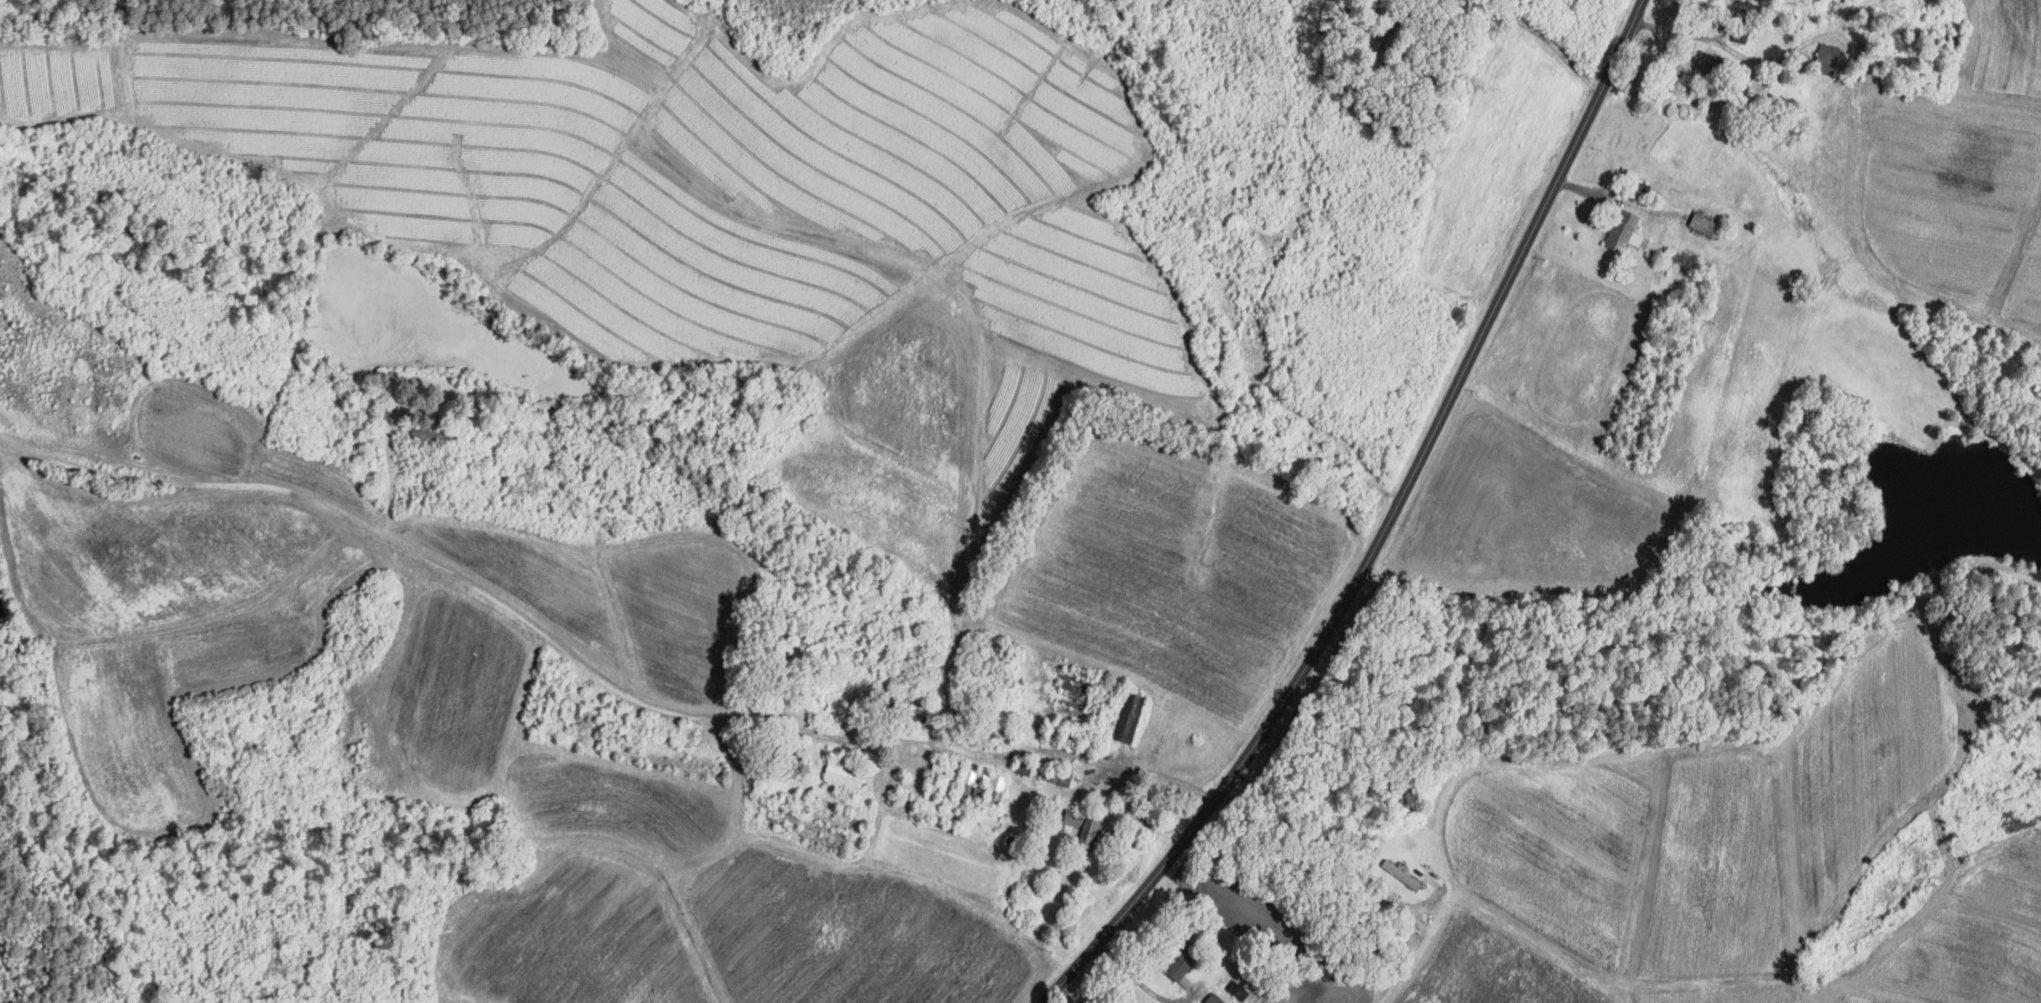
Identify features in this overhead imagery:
road: (1530, 26)
building: (1832, 54)
building: (1711, 62)
building: (1705, 224)
building: (1624, 229)
road: (1378, 524)
road: (591, 666)
building: (1132, 717)
building: (847, 774)
building: (977, 783)
building: (999, 789)
building: (1005, 818)
building: (1087, 827)
road: (1342, 856)
building: (1186, 964)
road: (1140, 983)
building: (1216, 999)
road: (1042, 1002)

